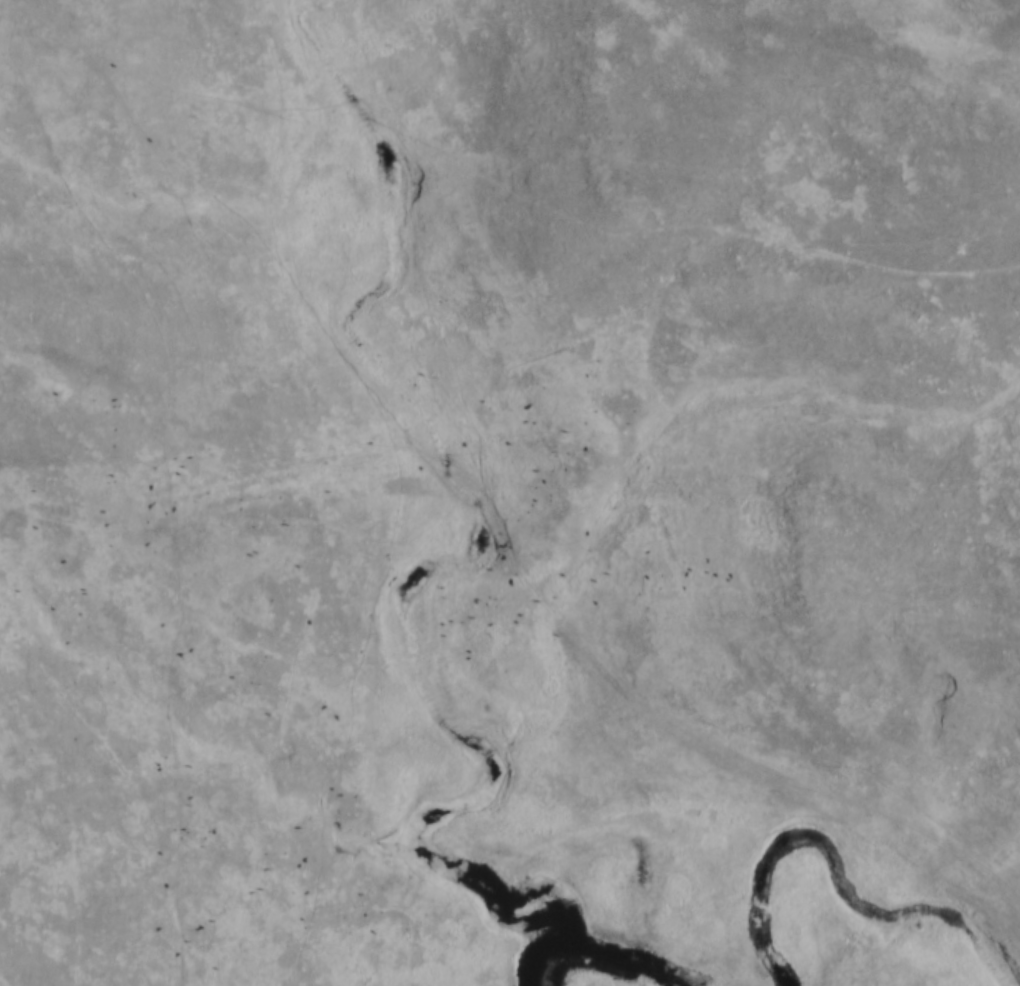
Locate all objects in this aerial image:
road: (577, 514)

